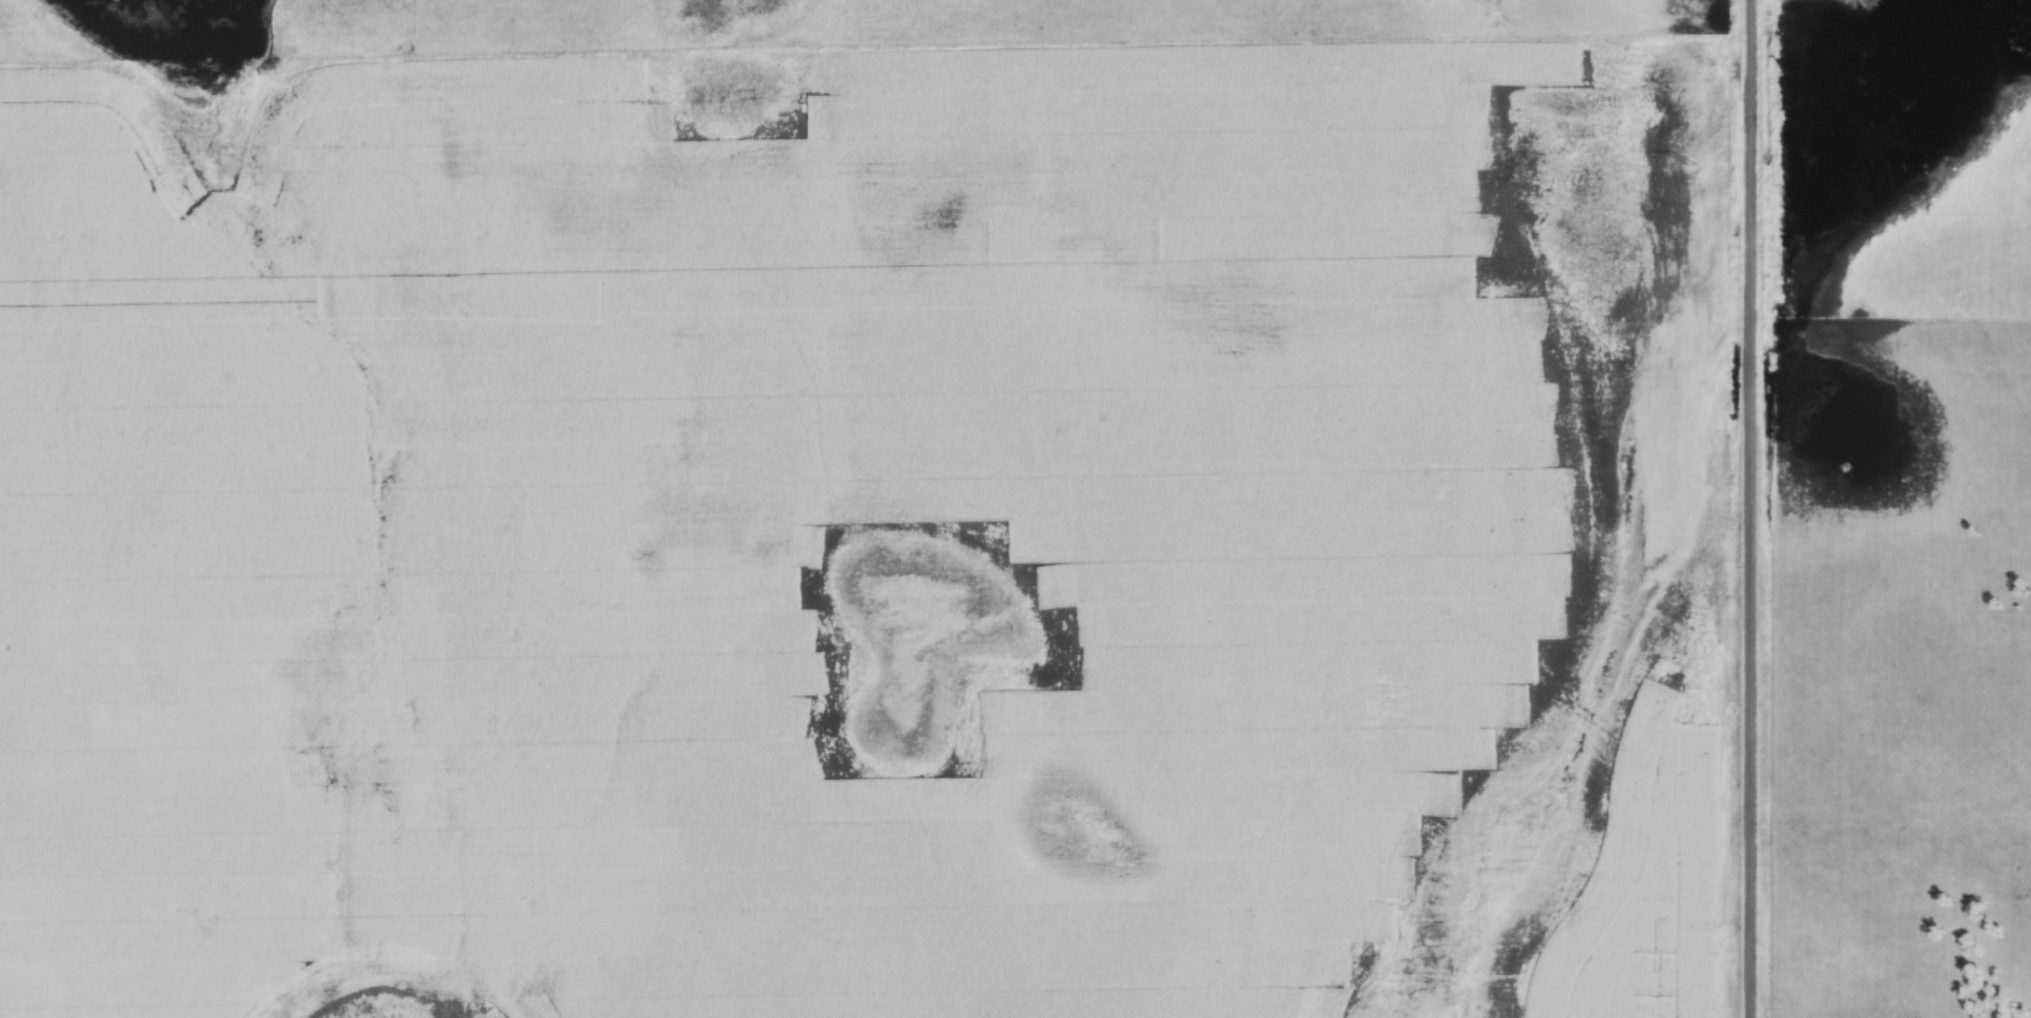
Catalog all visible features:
power tower: (1692, 165)
road: (1727, 509)
power tower: (1692, 669)

